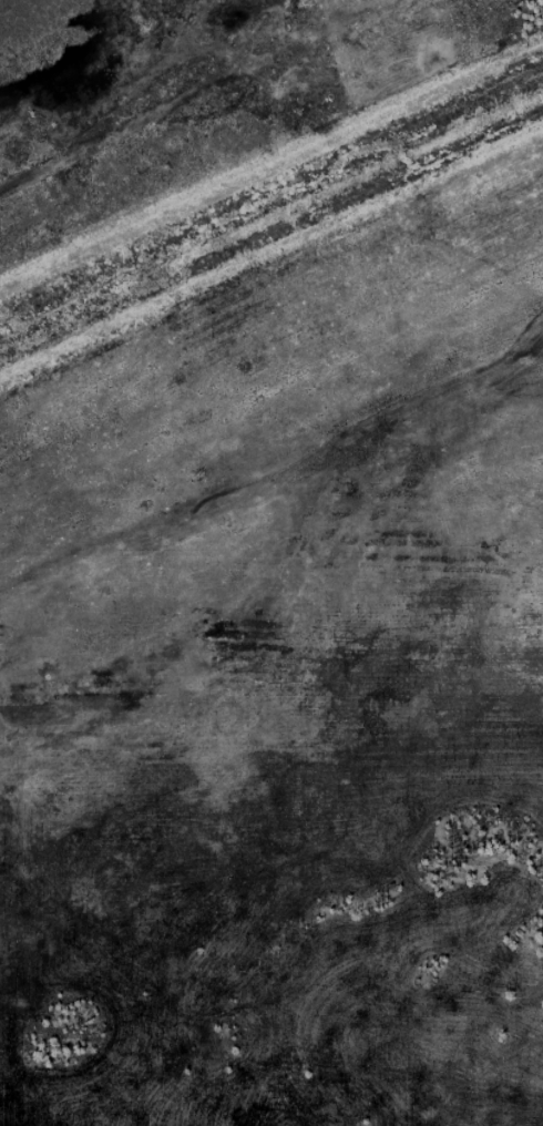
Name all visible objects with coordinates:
river: (271, 223)

